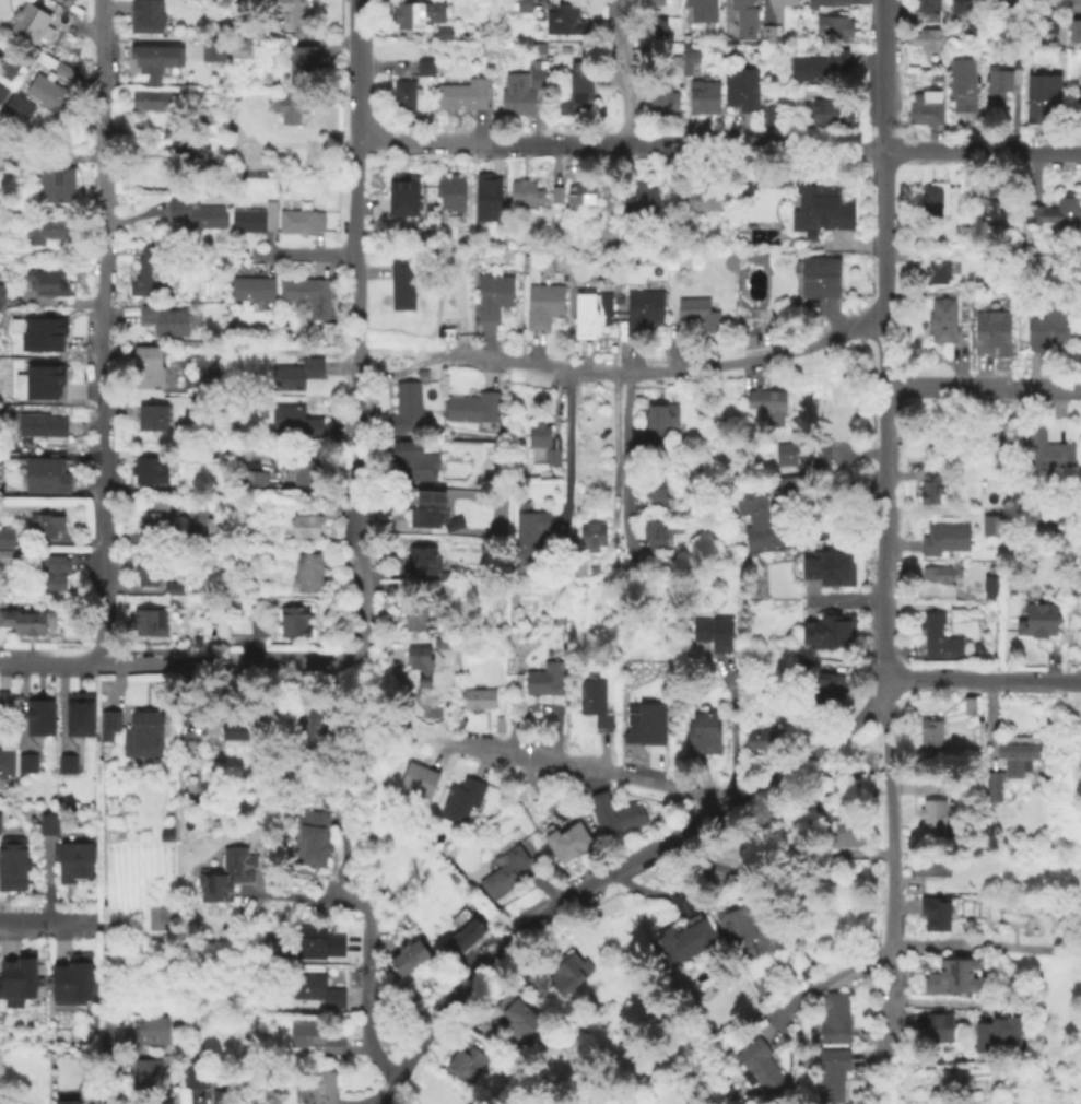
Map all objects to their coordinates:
building: (258, 1)
building: (780, 1)
building: (653, 2)
building: (822, 2)
building: (1073, 2)
building: (1007, 3)
building: (522, 5)
building: (924, 5)
building: (1080, 5)
building: (701, 10)
building: (291, 12)
building: (416, 13)
building: (970, 14)
building: (145, 15)
road: (356, 16)
building: (562, 17)
building: (743, 17)
building: (1038, 19)
building: (1053, 19)
building: (28, 20)
building: (1047, 24)
building: (832, 26)
building: (654, 27)
road: (80, 28)
building: (1073, 28)
building: (244, 30)
building: (444, 32)
building: (766, 32)
building: (927, 37)
building: (212, 47)
building: (239, 47)
building: (542, 47)
building: (586, 51)
building: (688, 59)
building: (150, 60)
building: (8, 63)
building: (303, 64)
building: (818, 64)
building: (424, 66)
road: (102, 68)
building: (1077, 68)
building: (63, 70)
road: (626, 71)
building: (935, 77)
building: (1001, 78)
building: (962, 82)
building: (577, 87)
building: (740, 87)
building: (521, 90)
building: (46, 92)
building: (1, 93)
building: (462, 93)
building: (660, 93)
building: (403, 95)
building: (703, 96)
building: (1076, 96)
building: (1043, 97)
building: (153, 98)
building: (17, 103)
building: (289, 104)
building: (924, 107)
building: (830, 111)
building: (767, 114)
building: (169, 128)
road: (419, 141)
road: (653, 143)
road: (851, 150)
road: (980, 152)
building: (195, 162)
building: (48, 180)
building: (743, 183)
building: (450, 190)
building: (524, 190)
building: (580, 191)
building: (703, 192)
building: (555, 193)
building: (487, 196)
building: (645, 196)
building: (402, 197)
building: (935, 198)
building: (991, 199)
building: (623, 204)
road: (368, 205)
building: (819, 205)
building: (1053, 211)
building: (195, 212)
building: (252, 218)
building: (299, 219)
building: (43, 228)
road: (301, 251)
building: (755, 256)
building: (728, 260)
building: (144, 269)
building: (936, 271)
building: (816, 274)
building: (44, 281)
building: (400, 282)
building: (251, 287)
building: (1, 293)
building: (305, 293)
building: (492, 294)
road: (56, 300)
building: (543, 303)
building: (642, 309)
building: (590, 312)
building: (698, 313)
building: (164, 318)
building: (940, 318)
building: (1048, 325)
park: (753, 331)
building: (991, 331)
building: (42, 332)
road: (883, 338)
road: (355, 343)
road: (402, 350)
building: (146, 366)
road: (667, 371)
building: (296, 372)
building: (421, 373)
building: (43, 381)
road: (982, 386)
road: (102, 399)
road: (559, 401)
building: (766, 402)
building: (472, 407)
building: (404, 409)
building: (151, 415)
building: (654, 418)
building: (717, 418)
building: (294, 419)
building: (40, 423)
road: (631, 431)
building: (997, 435)
building: (541, 441)
road: (565, 448)
building: (1042, 448)
building: (799, 450)
building: (413, 459)
road: (613, 459)
road: (623, 461)
building: (149, 469)
building: (304, 472)
building: (45, 473)
building: (254, 480)
building: (789, 484)
building: (928, 485)
building: (656, 490)
road: (632, 503)
building: (331, 508)
building: (427, 508)
building: (156, 518)
building: (756, 520)
building: (46, 521)
building: (990, 524)
building: (211, 525)
building: (305, 525)
building: (590, 532)
building: (654, 532)
building: (5, 536)
building: (528, 536)
building: (943, 536)
road: (111, 538)
road: (62, 551)
building: (421, 555)
building: (9, 556)
building: (827, 565)
building: (146, 568)
building: (52, 571)
building: (995, 571)
building: (308, 572)
building: (445, 574)
building: (938, 577)
building: (988, 585)
building: (426, 586)
building: (174, 590)
building: (412, 616)
building: (1037, 619)
building: (23, 620)
building: (293, 620)
building: (150, 622)
building: (255, 625)
building: (830, 630)
building: (713, 632)
building: (938, 635)
building: (199, 641)
building: (444, 645)
building: (416, 657)
road: (50, 659)
road: (228, 659)
building: (543, 678)
road: (973, 679)
building: (423, 681)
road: (1071, 681)
building: (829, 690)
road: (360, 694)
road: (1065, 695)
building: (477, 696)
building: (7, 698)
building: (595, 701)
building: (967, 703)
building: (427, 705)
building: (39, 716)
building: (78, 717)
building: (498, 723)
building: (644, 723)
building: (107, 724)
building: (312, 724)
road: (729, 727)
building: (232, 728)
building: (702, 732)
building: (927, 732)
building: (142, 733)
building: (760, 738)
building: (189, 745)
road: (813, 752)
building: (26, 762)
building: (66, 762)
road: (560, 762)
building: (1009, 762)
building: (5, 763)
building: (418, 777)
road: (538, 790)
building: (461, 799)
building: (931, 811)
building: (614, 813)
building: (47, 822)
building: (843, 827)
building: (164, 833)
building: (309, 836)
building: (567, 841)
road: (342, 858)
building: (72, 859)
building: (13, 861)
building: (928, 862)
building: (503, 868)
road: (886, 868)
building: (226, 873)
road: (305, 895)
building: (933, 911)
park: (162, 916)
road: (49, 920)
road: (106, 921)
road: (526, 927)
building: (737, 928)
building: (465, 936)
building: (686, 937)
building: (314, 941)
road: (984, 942)
road: (368, 947)
building: (409, 955)
building: (803, 971)
building: (569, 972)
building: (950, 975)
building: (16, 976)
building: (534, 978)
building: (73, 982)
road: (820, 983)
building: (314, 989)
road: (367, 997)
road: (939, 1000)
building: (515, 1017)
building: (833, 1017)
building: (937, 1026)
building: (139, 1030)
building: (997, 1030)
building: (314, 1037)
road: (108, 1058)
building: (463, 1062)
building: (756, 1064)
building: (831, 1072)
building: (195, 1074)
building: (149, 1078)
road: (900, 1081)
building: (322, 1087)
building: (221, 1096)
building: (66, 1101)

